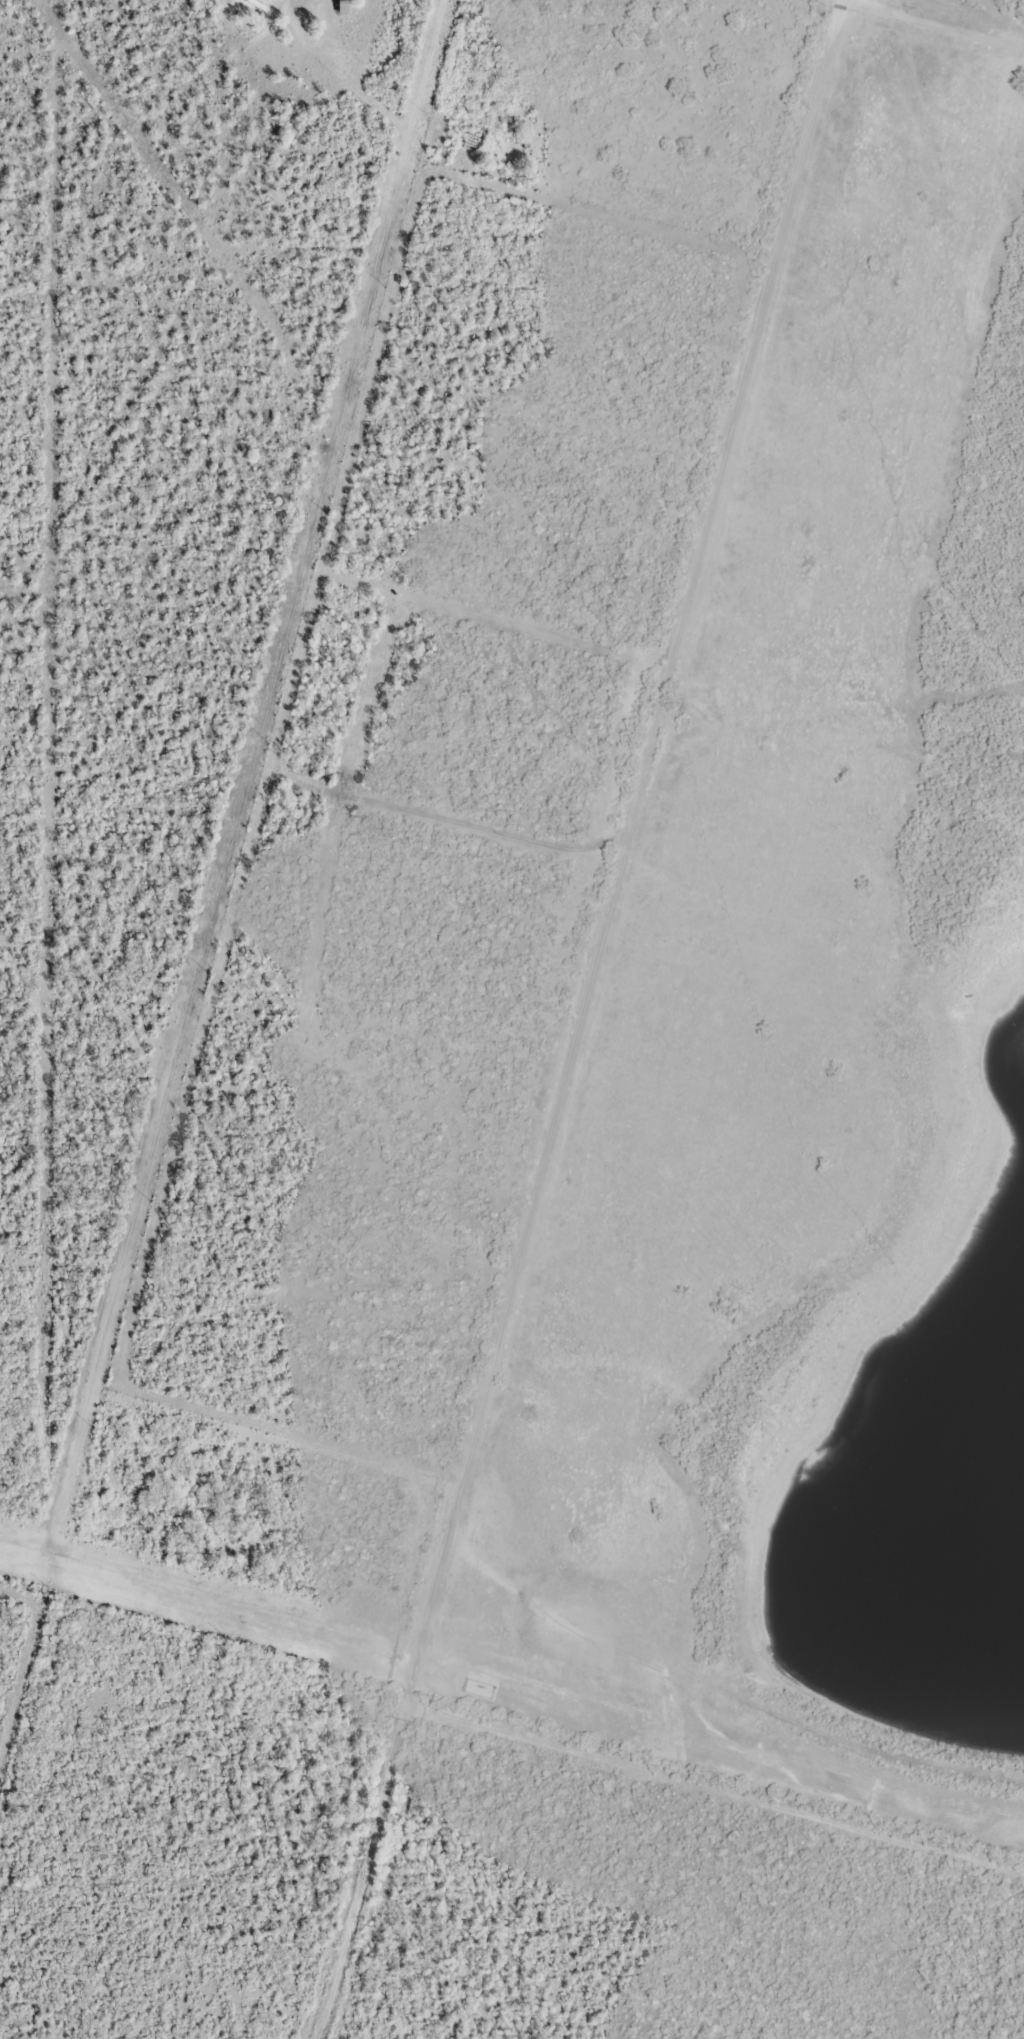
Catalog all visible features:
building: (340, 5)
road: (597, 1023)
road: (326, 1231)

